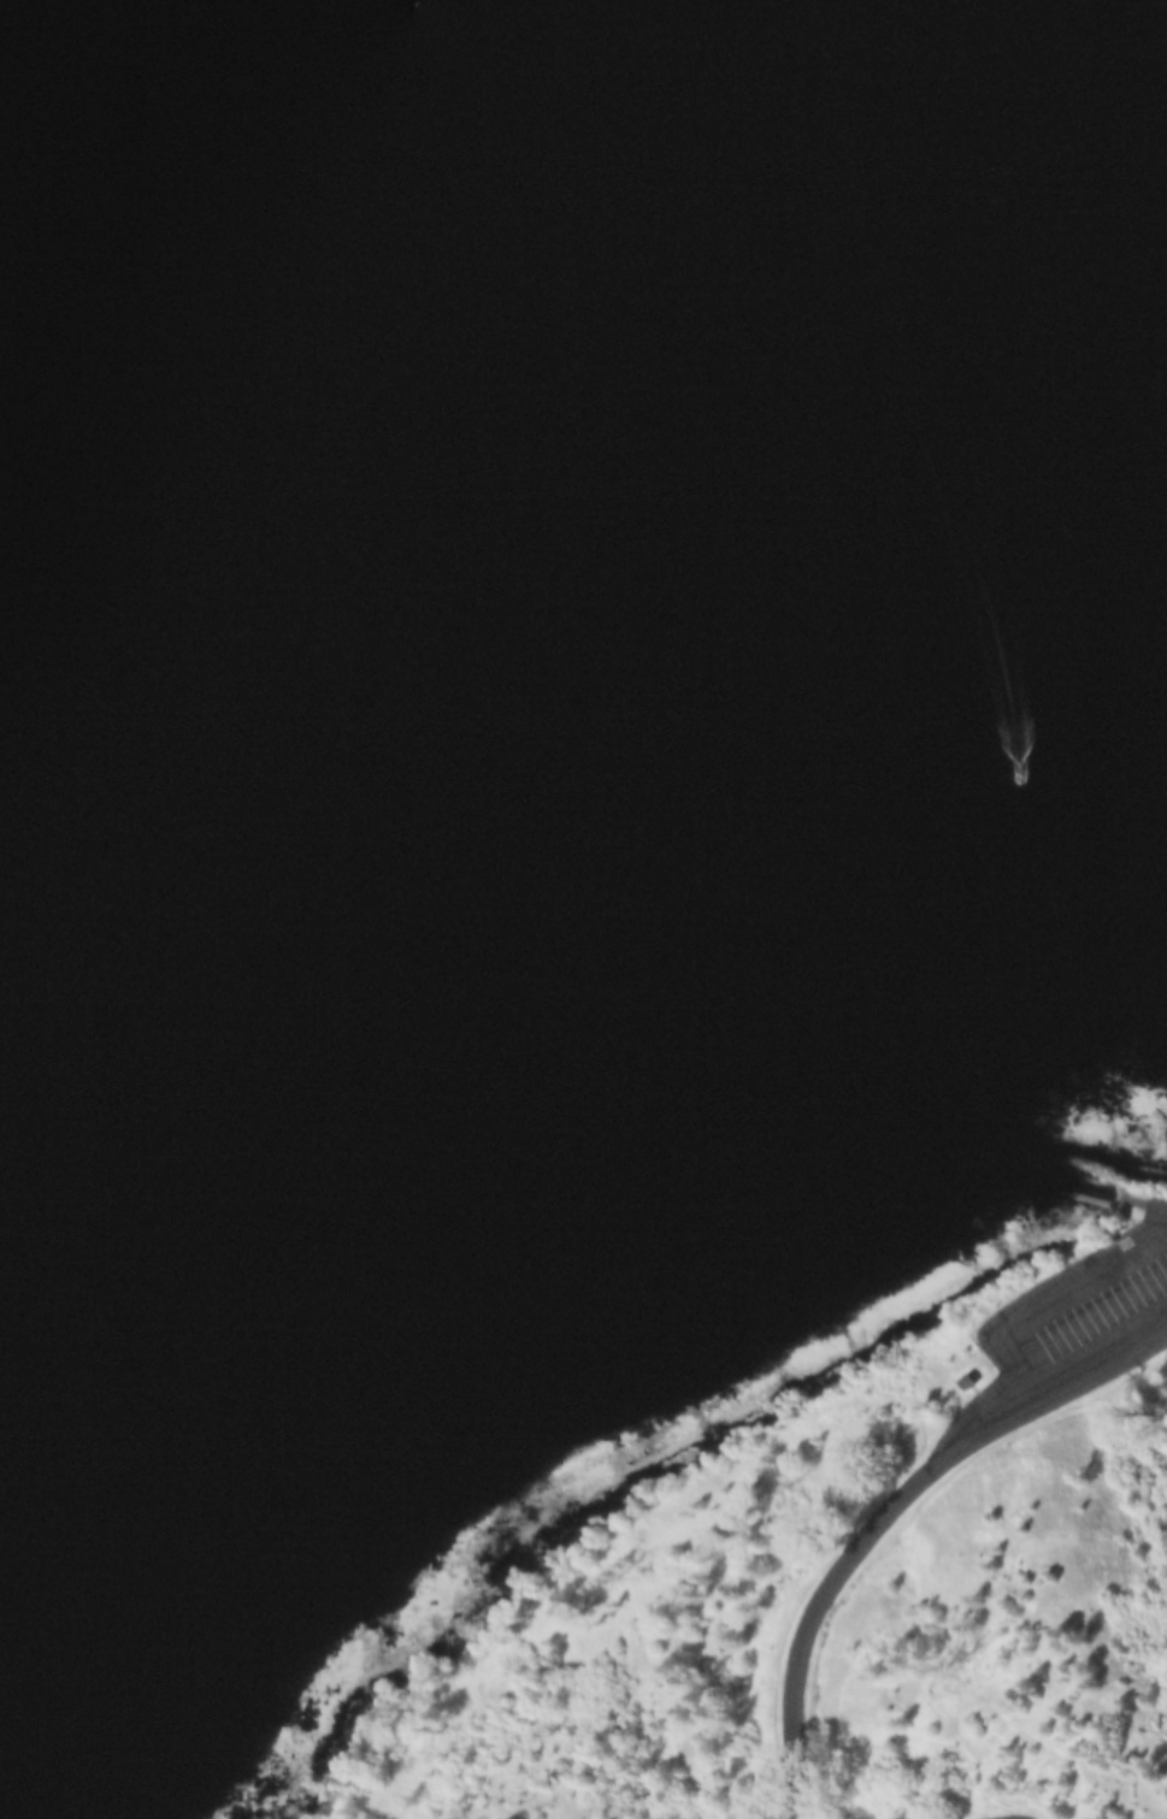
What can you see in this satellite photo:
river: (211, 161)
parking lot: (1103, 1306)
building: (974, 1380)
road: (895, 1519)
parking lot: (986, 1817)

